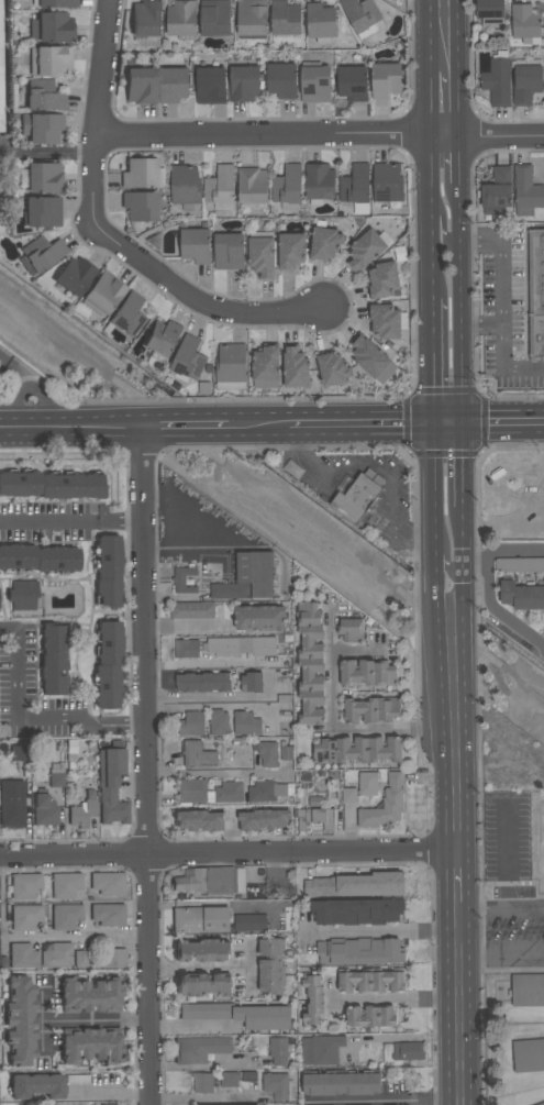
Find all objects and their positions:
building: (57, 3)
building: (490, 12)
building: (363, 16)
building: (215, 18)
building: (252, 18)
building: (146, 19)
building: (285, 19)
building: (182, 20)
building: (320, 22)
building: (524, 23)
building: (51, 27)
building: (49, 60)
road: (428, 68)
road: (457, 68)
building: (0, 75)
building: (281, 80)
building: (385, 80)
building: (498, 80)
building: (526, 80)
building: (173, 82)
building: (315, 82)
building: (352, 82)
building: (244, 84)
building: (211, 85)
building: (140, 86)
building: (43, 96)
road: (99, 103)
building: (41, 128)
road: (320, 135)
road: (429, 169)
building: (142, 174)
building: (44, 177)
building: (319, 183)
building: (387, 183)
building: (185, 186)
building: (220, 187)
building: (288, 187)
building: (253, 188)
building: (356, 189)
building: (497, 191)
building: (526, 191)
building: (140, 206)
building: (42, 212)
road: (442, 228)
building: (324, 242)
building: (196, 245)
road: (430, 250)
building: (291, 251)
building: (365, 251)
building: (229, 252)
building: (41, 254)
building: (262, 255)
building: (74, 275)
road: (462, 277)
building: (384, 280)
building: (102, 294)
road: (191, 296)
building: (536, 298)
road: (501, 300)
building: (125, 316)
building: (387, 321)
road: (481, 322)
building: (162, 340)
building: (188, 358)
road: (432, 358)
building: (371, 360)
building: (230, 366)
building: (266, 366)
building: (295, 367)
building: (333, 369)
road: (18, 371)
road: (30, 388)
road: (447, 419)
road: (502, 420)
road: (359, 422)
road: (257, 426)
road: (182, 428)
road: (67, 429)
building: (292, 469)
road: (369, 472)
road: (433, 476)
building: (51, 484)
building: (356, 498)
road: (69, 522)
road: (433, 550)
road: (517, 551)
road: (184, 556)
road: (447, 557)
building: (38, 559)
road: (476, 565)
building: (519, 565)
building: (107, 571)
building: (248, 578)
building: (184, 579)
building: (22, 595)
building: (522, 595)
building: (192, 610)
road: (493, 612)
building: (259, 618)
road: (186, 628)
building: (351, 630)
road: (464, 634)
building: (240, 647)
building: (187, 649)
building: (53, 659)
building: (310, 663)
building: (107, 664)
building: (367, 673)
building: (203, 682)
building: (252, 682)
road: (208, 697)
building: (371, 710)
road: (27, 721)
building: (218, 721)
building: (191, 723)
building: (245, 723)
road: (342, 730)
building: (357, 750)
building: (19, 753)
building: (268, 753)
building: (287, 753)
building: (198, 755)
road: (146, 766)
road: (213, 775)
building: (367, 784)
building: (111, 785)
building: (268, 791)
building: (209, 792)
building: (348, 795)
building: (12, 804)
building: (385, 804)
building: (44, 810)
building: (81, 814)
building: (313, 818)
building: (263, 819)
building: (198, 820)
road: (442, 836)
road: (234, 855)
building: (211, 881)
building: (108, 882)
building: (24, 885)
building: (65, 885)
building: (357, 885)
road: (211, 904)
road: (507, 909)
building: (356, 911)
building: (107, 915)
building: (24, 916)
building: (65, 916)
building: (200, 919)
building: (251, 924)
road: (379, 931)
road: (40, 935)
building: (202, 950)
building: (359, 951)
building: (23, 955)
building: (57, 955)
building: (111, 958)
road: (507, 958)
building: (80, 959)
road: (248, 965)
building: (271, 966)
road: (200, 969)
road: (470, 977)
building: (370, 981)
building: (203, 985)
building: (528, 990)
building: (90, 995)
road: (392, 1002)
road: (458, 1002)
building: (313, 1003)
building: (238, 1015)
building: (370, 1018)
building: (20, 1020)
road: (98, 1021)
road: (189, 1026)
road: (399, 1038)
building: (90, 1045)
building: (199, 1049)
building: (321, 1049)
building: (278, 1051)
building: (408, 1051)
building: (528, 1054)
building: (229, 1080)
building: (202, 1082)
building: (341, 1083)
building: (36, 1085)
building: (277, 1085)
road: (109, 1093)
road: (200, 1098)
road: (379, 1102)
building: (541, 1104)

